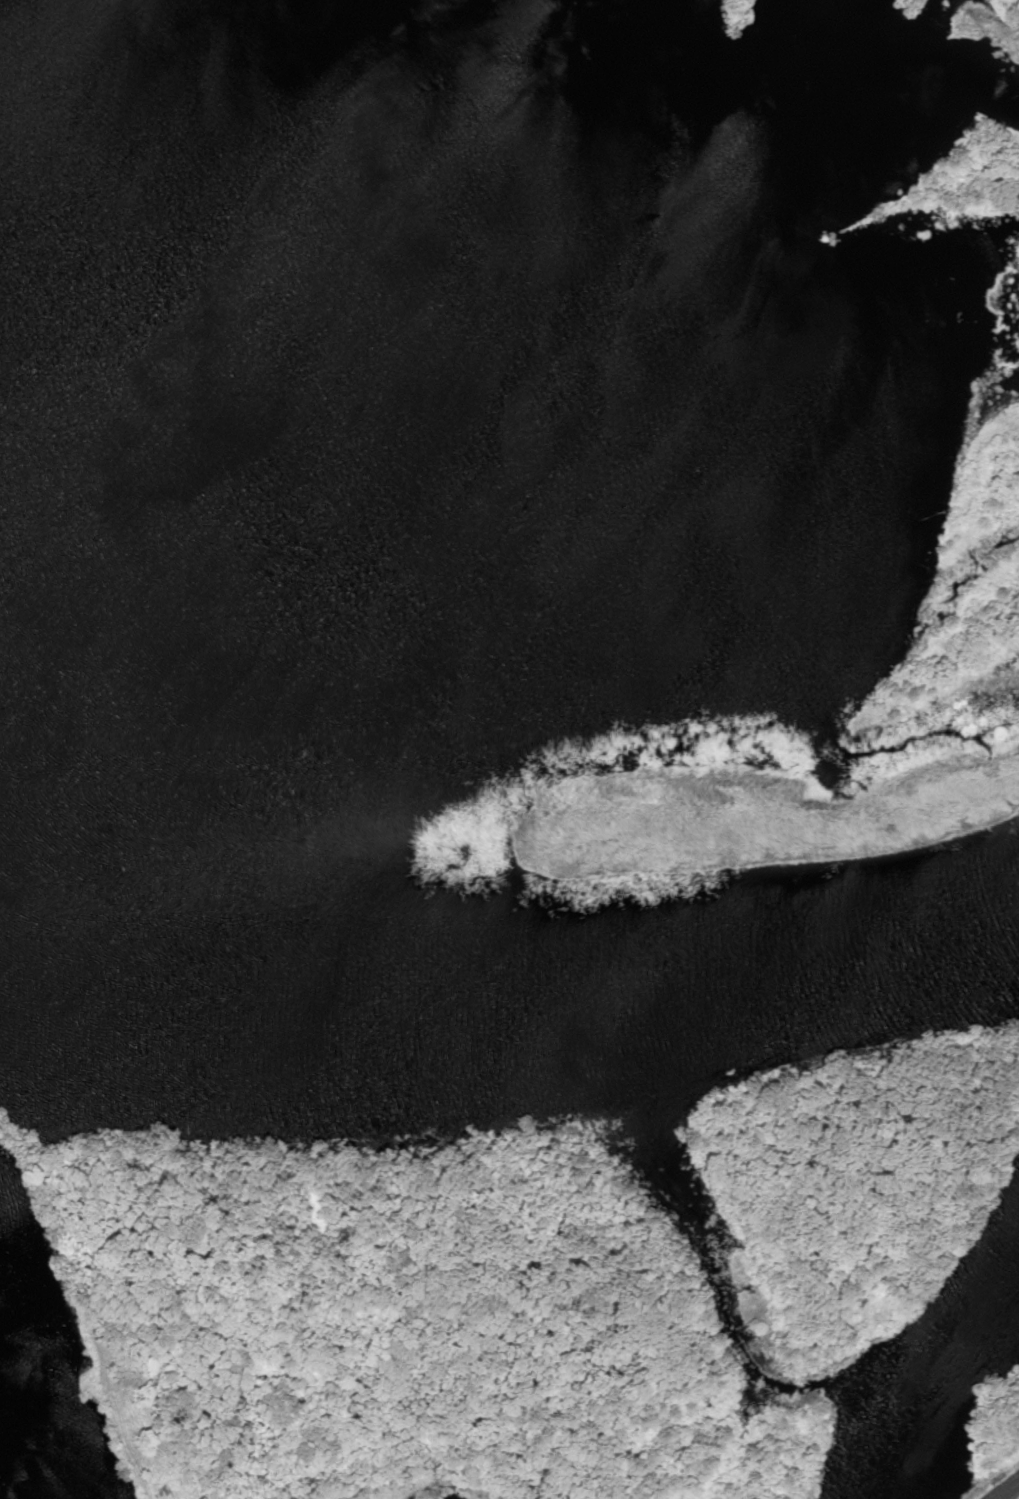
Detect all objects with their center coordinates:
road: (1007, 1489)

